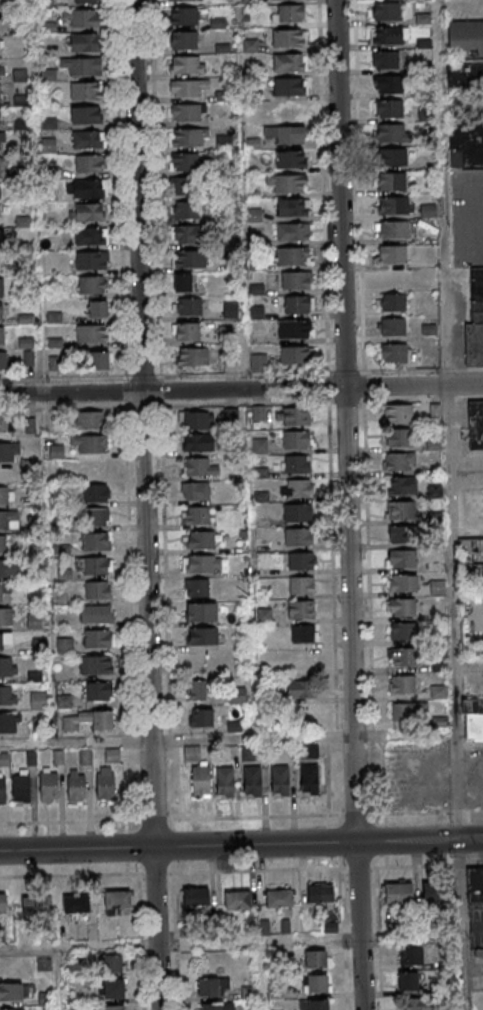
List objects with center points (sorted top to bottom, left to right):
building: (183, 0)
building: (86, 1)
building: (386, 11)
building: (289, 13)
building: (184, 16)
building: (80, 18)
building: (386, 35)
building: (289, 38)
building: (465, 38)
building: (184, 40)
building: (84, 42)
building: (1, 44)
building: (385, 59)
building: (290, 63)
building: (187, 65)
building: (82, 66)
building: (1, 68)
building: (389, 84)
building: (187, 87)
building: (291, 87)
building: (86, 90)
building: (0, 93)
building: (389, 108)
building: (188, 113)
building: (465, 113)
building: (86, 115)
building: (0, 117)
building: (394, 133)
building: (285, 136)
building: (88, 139)
building: (188, 139)
building: (2, 141)
building: (223, 144)
building: (393, 157)
building: (290, 161)
building: (90, 163)
building: (183, 163)
building: (3, 165)
building: (392, 181)
building: (288, 184)
building: (181, 187)
building: (86, 188)
building: (0, 190)
building: (396, 205)
building: (292, 208)
building: (185, 210)
building: (86, 211)
building: (428, 211)
parking lot: (466, 216)
road: (476, 221)
building: (392, 230)
building: (293, 233)
building: (186, 234)
building: (90, 236)
building: (1, 238)
building: (392, 255)
building: (293, 257)
building: (189, 259)
building: (91, 261)
building: (295, 281)
building: (182, 283)
building: (1, 286)
building: (91, 286)
building: (392, 303)
building: (188, 306)
building: (297, 306)
building: (97, 310)
building: (1, 311)
building: (54, 318)
building: (475, 320)
building: (392, 328)
building: (294, 330)
building: (186, 331)
building: (221, 334)
building: (1, 335)
building: (92, 335)
road: (454, 338)
building: (54, 343)
building: (392, 353)
building: (191, 356)
building: (294, 356)
building: (3, 360)
building: (98, 361)
building: (258, 363)
building: (53, 364)
road: (241, 390)
building: (258, 414)
building: (398, 414)
building: (230, 415)
building: (293, 417)
building: (197, 419)
building: (92, 420)
building: (6, 423)
building: (475, 425)
building: (400, 439)
building: (296, 440)
building: (197, 442)
building: (90, 443)
building: (57, 452)
building: (17, 458)
building: (399, 461)
building: (297, 464)
building: (200, 467)
building: (400, 486)
building: (299, 489)
building: (196, 490)
building: (96, 493)
building: (6, 495)
road: (144, 505)
road: (348, 505)
building: (402, 510)
building: (297, 513)
building: (196, 515)
building: (97, 516)
building: (9, 520)
building: (403, 534)
building: (298, 537)
building: (473, 539)
building: (203, 540)
building: (95, 542)
building: (2, 544)
building: (403, 559)
building: (301, 561)
building: (202, 563)
building: (94, 566)
building: (9, 568)
building: (402, 583)
building: (301, 586)
building: (196, 587)
building: (437, 587)
building: (3, 589)
building: (97, 591)
building: (402, 607)
building: (301, 610)
building: (201, 612)
road: (452, 612)
building: (96, 615)
building: (6, 617)
building: (34, 621)
building: (404, 630)
building: (303, 635)
building: (202, 636)
building: (5, 640)
building: (97, 640)
building: (64, 646)
building: (403, 657)
building: (95, 666)
building: (7, 668)
building: (403, 684)
building: (300, 689)
building: (197, 690)
building: (98, 692)
building: (7, 696)
building: (38, 701)
building: (63, 702)
building: (471, 705)
building: (409, 712)
building: (201, 717)
building: (87, 721)
building: (9, 724)
building: (473, 727)
building: (309, 751)
building: (112, 756)
building: (85, 757)
building: (3, 760)
building: (198, 772)
building: (280, 780)
building: (252, 781)
building: (309, 781)
building: (225, 782)
building: (76, 785)
building: (105, 785)
building: (21, 786)
building: (49, 786)
building: (2, 790)
road: (241, 817)
road: (465, 840)
road: (224, 846)
road: (224, 871)
building: (475, 887)
building: (320, 893)
building: (436, 893)
building: (398, 894)
building: (196, 899)
building: (279, 899)
building: (117, 900)
building: (237, 901)
building: (2, 902)
building: (75, 903)
building: (34, 904)
road: (461, 925)
road: (180, 943)
building: (478, 952)
building: (410, 955)
building: (315, 959)
building: (74, 963)
building: (114, 964)
road: (57, 978)
building: (408, 981)
building: (316, 984)
building: (208, 987)
building: (113, 989)
building: (11, 991)
building: (248, 992)
building: (416, 1004)
building: (314, 1005)
building: (215, 1006)
building: (109, 1008)
building: (12, 1009)

